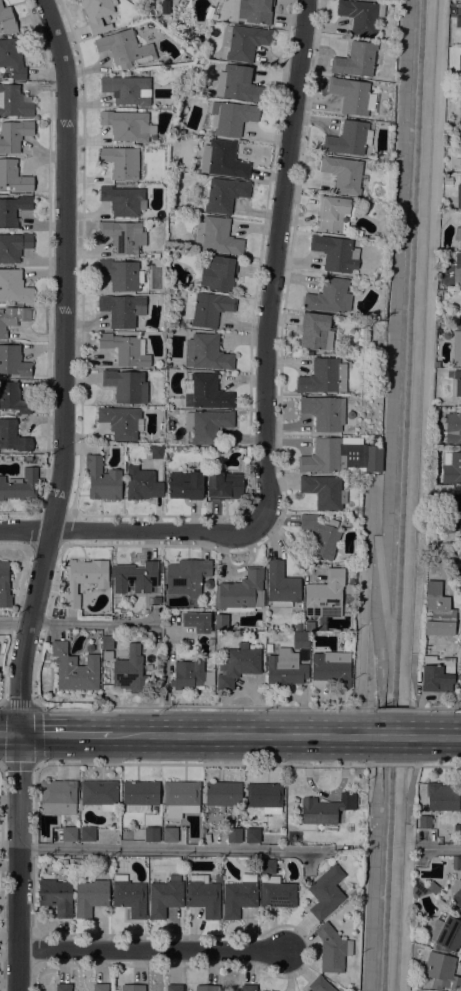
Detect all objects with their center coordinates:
building: (256, 11)
building: (97, 13)
building: (361, 16)
building: (6, 20)
building: (458, 22)
building: (244, 42)
building: (124, 49)
building: (12, 57)
building: (356, 60)
building: (459, 69)
building: (237, 84)
building: (127, 90)
building: (352, 96)
building: (13, 102)
building: (460, 109)
building: (231, 117)
building: (128, 125)
building: (13, 135)
building: (349, 138)
building: (458, 150)
building: (222, 160)
building: (121, 162)
building: (343, 174)
building: (14, 177)
building: (225, 195)
building: (458, 196)
building: (123, 201)
building: (13, 209)
building: (334, 214)
building: (458, 233)
building: (124, 236)
building: (217, 236)
building: (14, 247)
building: (335, 253)
building: (156, 255)
road: (273, 263)
building: (457, 270)
building: (121, 274)
building: (219, 274)
building: (14, 287)
building: (329, 296)
building: (207, 308)
building: (122, 310)
building: (12, 318)
building: (459, 321)
road: (427, 327)
building: (316, 331)
building: (437, 332)
building: (456, 348)
building: (126, 349)
building: (305, 352)
building: (207, 353)
building: (13, 361)
building: (436, 364)
building: (323, 377)
building: (456, 384)
building: (126, 386)
building: (207, 393)
building: (13, 398)
building: (323, 412)
building: (120, 422)
building: (206, 427)
building: (453, 428)
building: (13, 437)
building: (436, 439)
building: (156, 452)
building: (324, 457)
building: (373, 459)
building: (140, 462)
building: (451, 468)
building: (102, 480)
building: (142, 484)
building: (19, 486)
building: (186, 486)
building: (224, 486)
building: (324, 491)
road: (57, 495)
building: (454, 512)
road: (131, 530)
building: (321, 536)
building: (460, 553)
building: (451, 558)
building: (161, 568)
building: (134, 577)
building: (187, 577)
building: (84, 579)
building: (4, 586)
building: (281, 586)
building: (241, 593)
building: (325, 595)
building: (156, 600)
road: (386, 603)
road: (362, 606)
building: (166, 617)
road: (78, 621)
building: (221, 621)
building: (197, 622)
building: (300, 640)
building: (107, 643)
building: (269, 648)
road: (3, 664)
building: (238, 665)
building: (149, 667)
building: (285, 668)
building: (75, 669)
building: (331, 669)
building: (130, 670)
building: (437, 674)
building: (190, 675)
building: (460, 680)
road: (416, 695)
road: (359, 705)
road: (1, 706)
road: (100, 707)
road: (321, 708)
road: (367, 708)
road: (393, 709)
road: (436, 709)
road: (10, 734)
traffic signals: (20, 734)
road: (65, 735)
road: (242, 736)
road: (392, 737)
road: (435, 737)
road: (0, 762)
road: (162, 763)
road: (392, 764)
road: (435, 766)
road: (411, 779)
building: (99, 794)
building: (139, 796)
building: (221, 796)
building: (57, 797)
building: (265, 797)
building: (441, 797)
building: (181, 798)
building: (325, 809)
building: (424, 822)
building: (456, 828)
building: (69, 834)
building: (87, 834)
building: (151, 835)
building: (170, 835)
building: (234, 835)
building: (252, 835)
road: (442, 848)
road: (170, 850)
building: (64, 862)
building: (456, 863)
building: (267, 866)
building: (78, 867)
building: (217, 877)
building: (432, 888)
building: (418, 890)
building: (326, 892)
building: (456, 892)
building: (276, 893)
building: (55, 895)
building: (203, 896)
building: (90, 897)
building: (129, 897)
building: (165, 897)
building: (238, 897)
building: (438, 903)
road: (404, 907)
building: (446, 933)
building: (332, 949)
road: (154, 950)
building: (441, 971)
building: (319, 985)
building: (63, 987)
building: (100, 987)
building: (133, 988)
building: (174, 988)
building: (207, 988)
building: (248, 988)
building: (339, 989)

